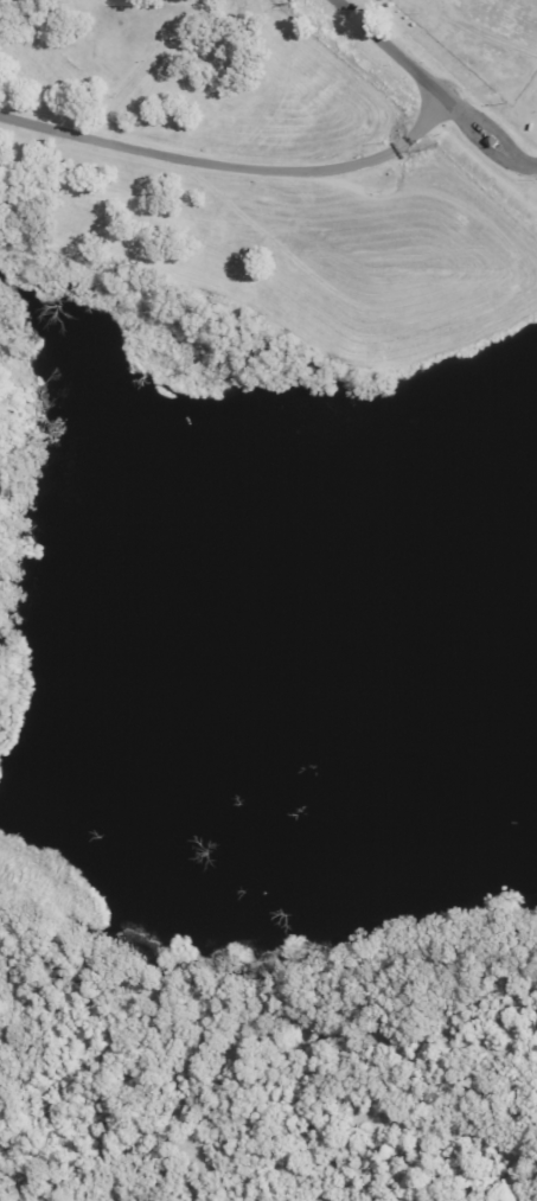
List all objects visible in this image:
road: (388, 40)
road: (468, 121)
road: (234, 167)
park: (287, 181)

